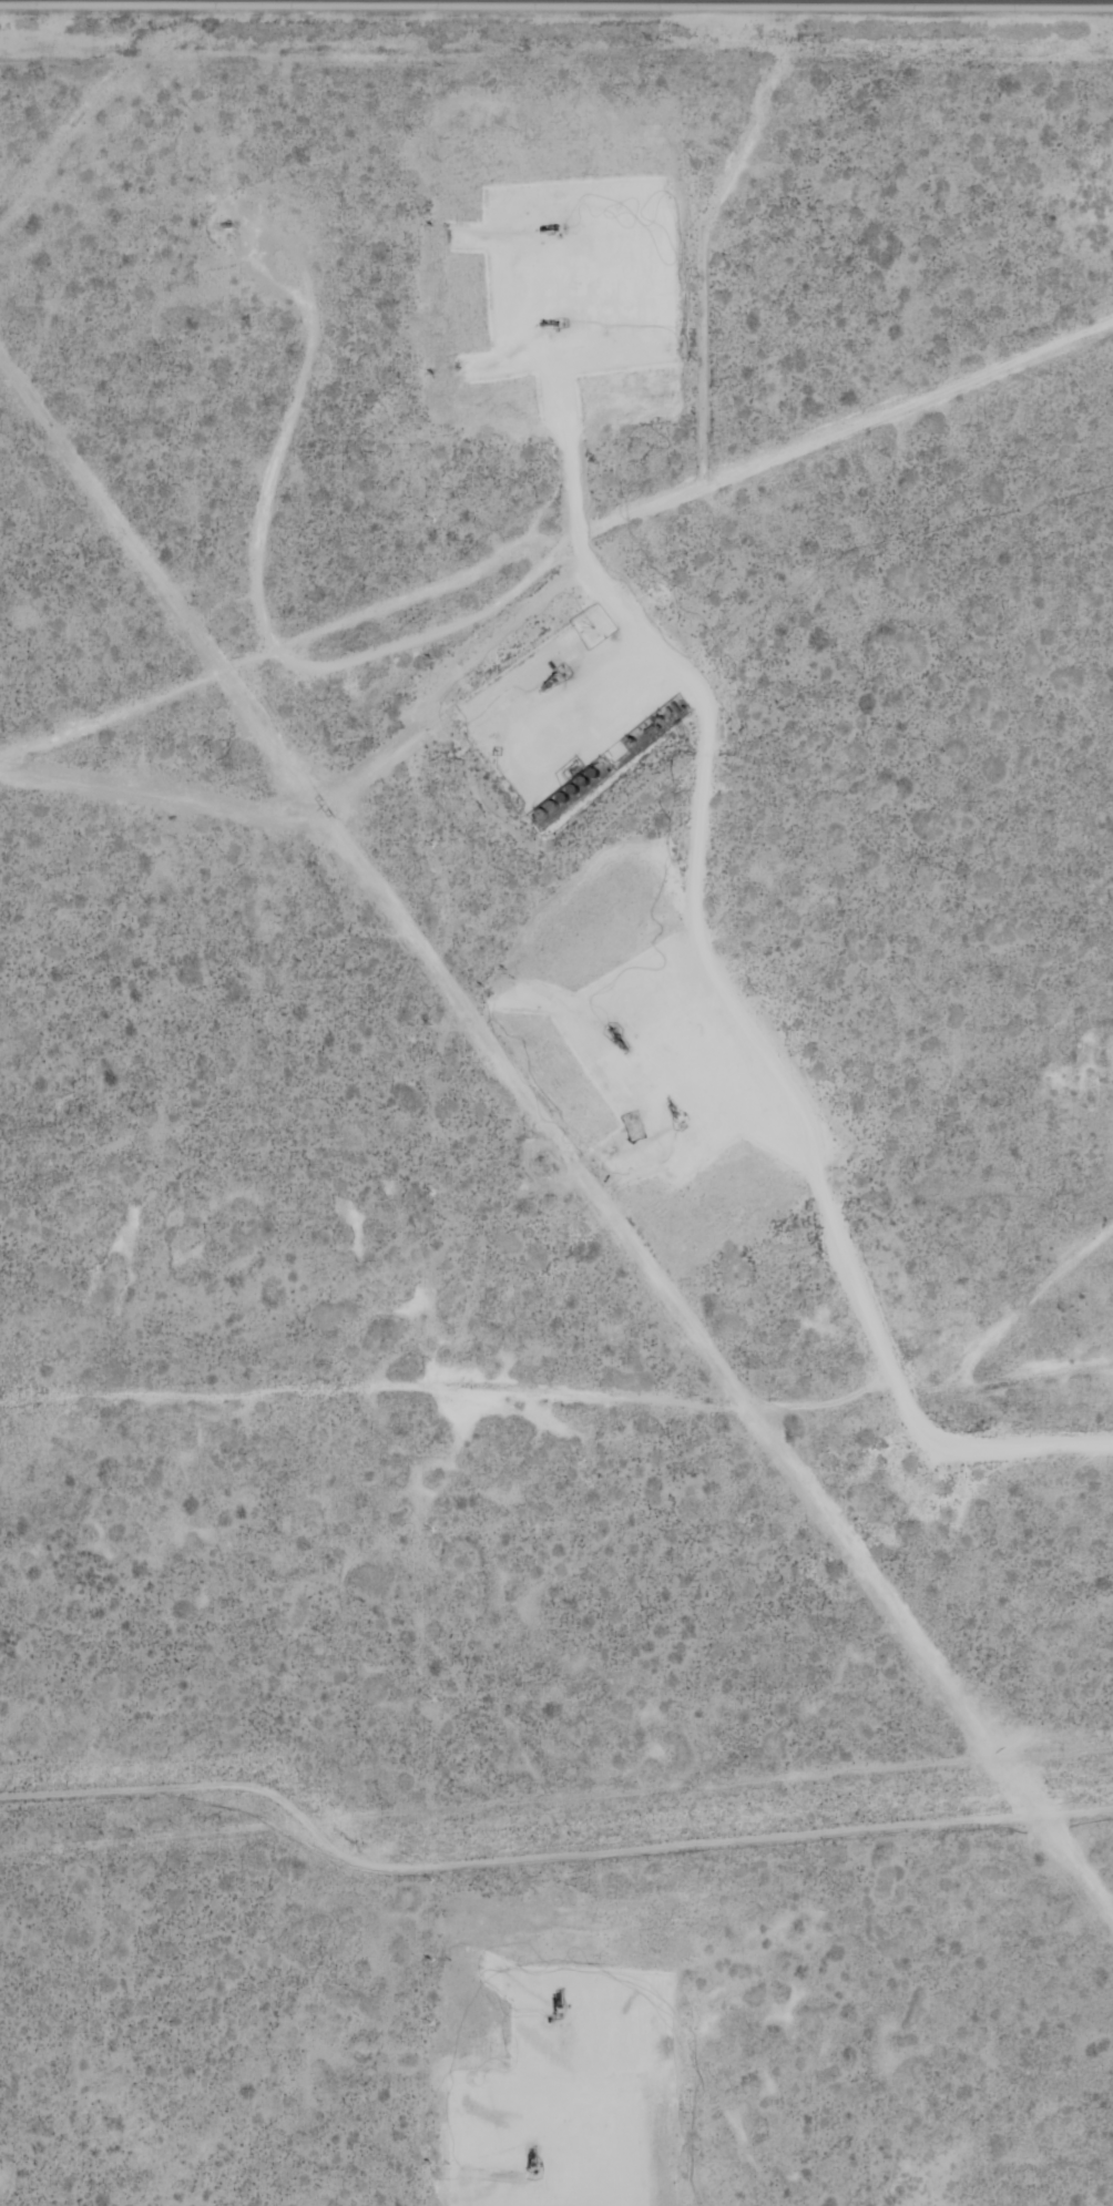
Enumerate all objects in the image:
road: (1089, 0)
road: (561, 566)
road: (734, 2178)

